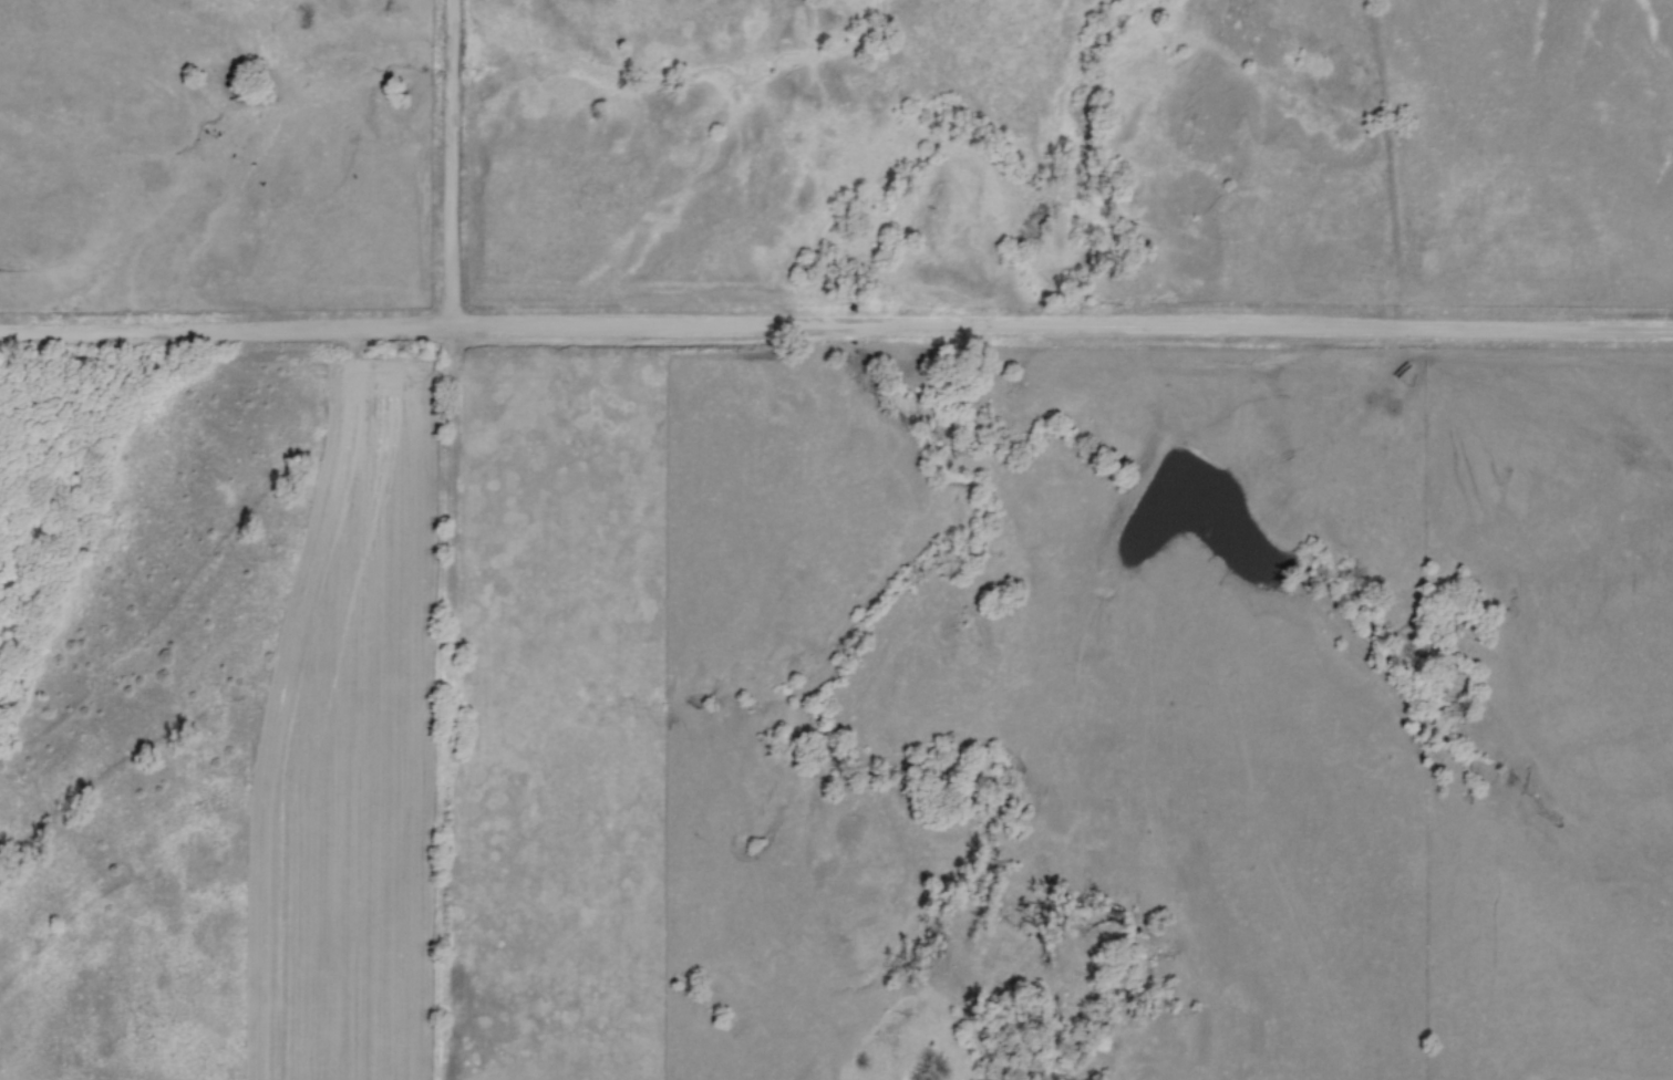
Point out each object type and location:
road: (454, 164)
road: (836, 328)

